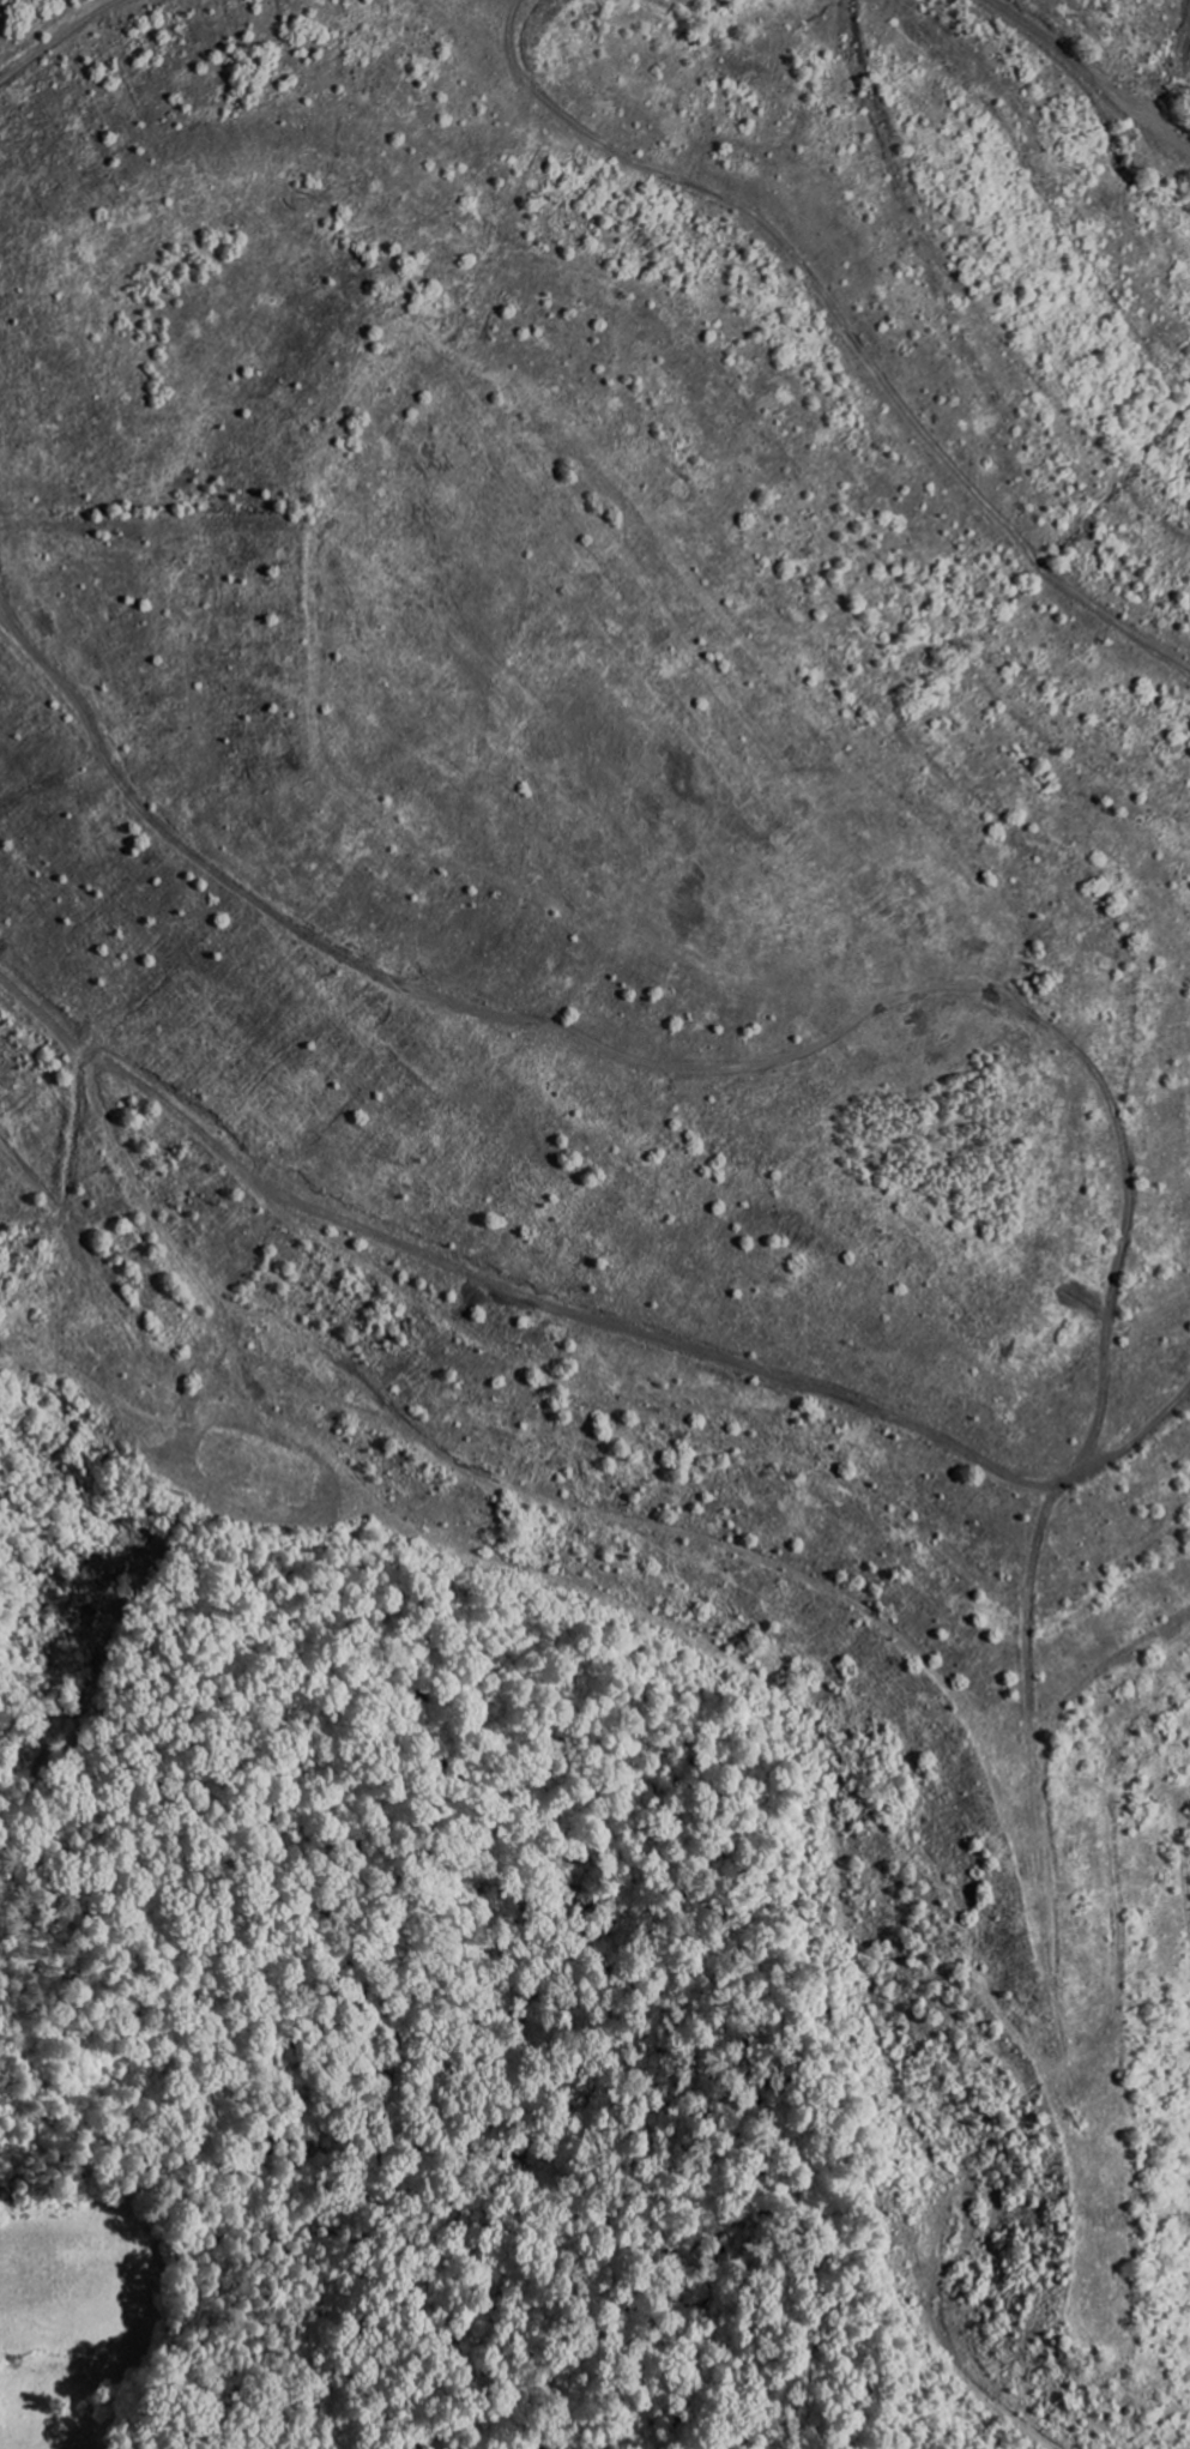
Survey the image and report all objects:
quarry: (626, 1078)

